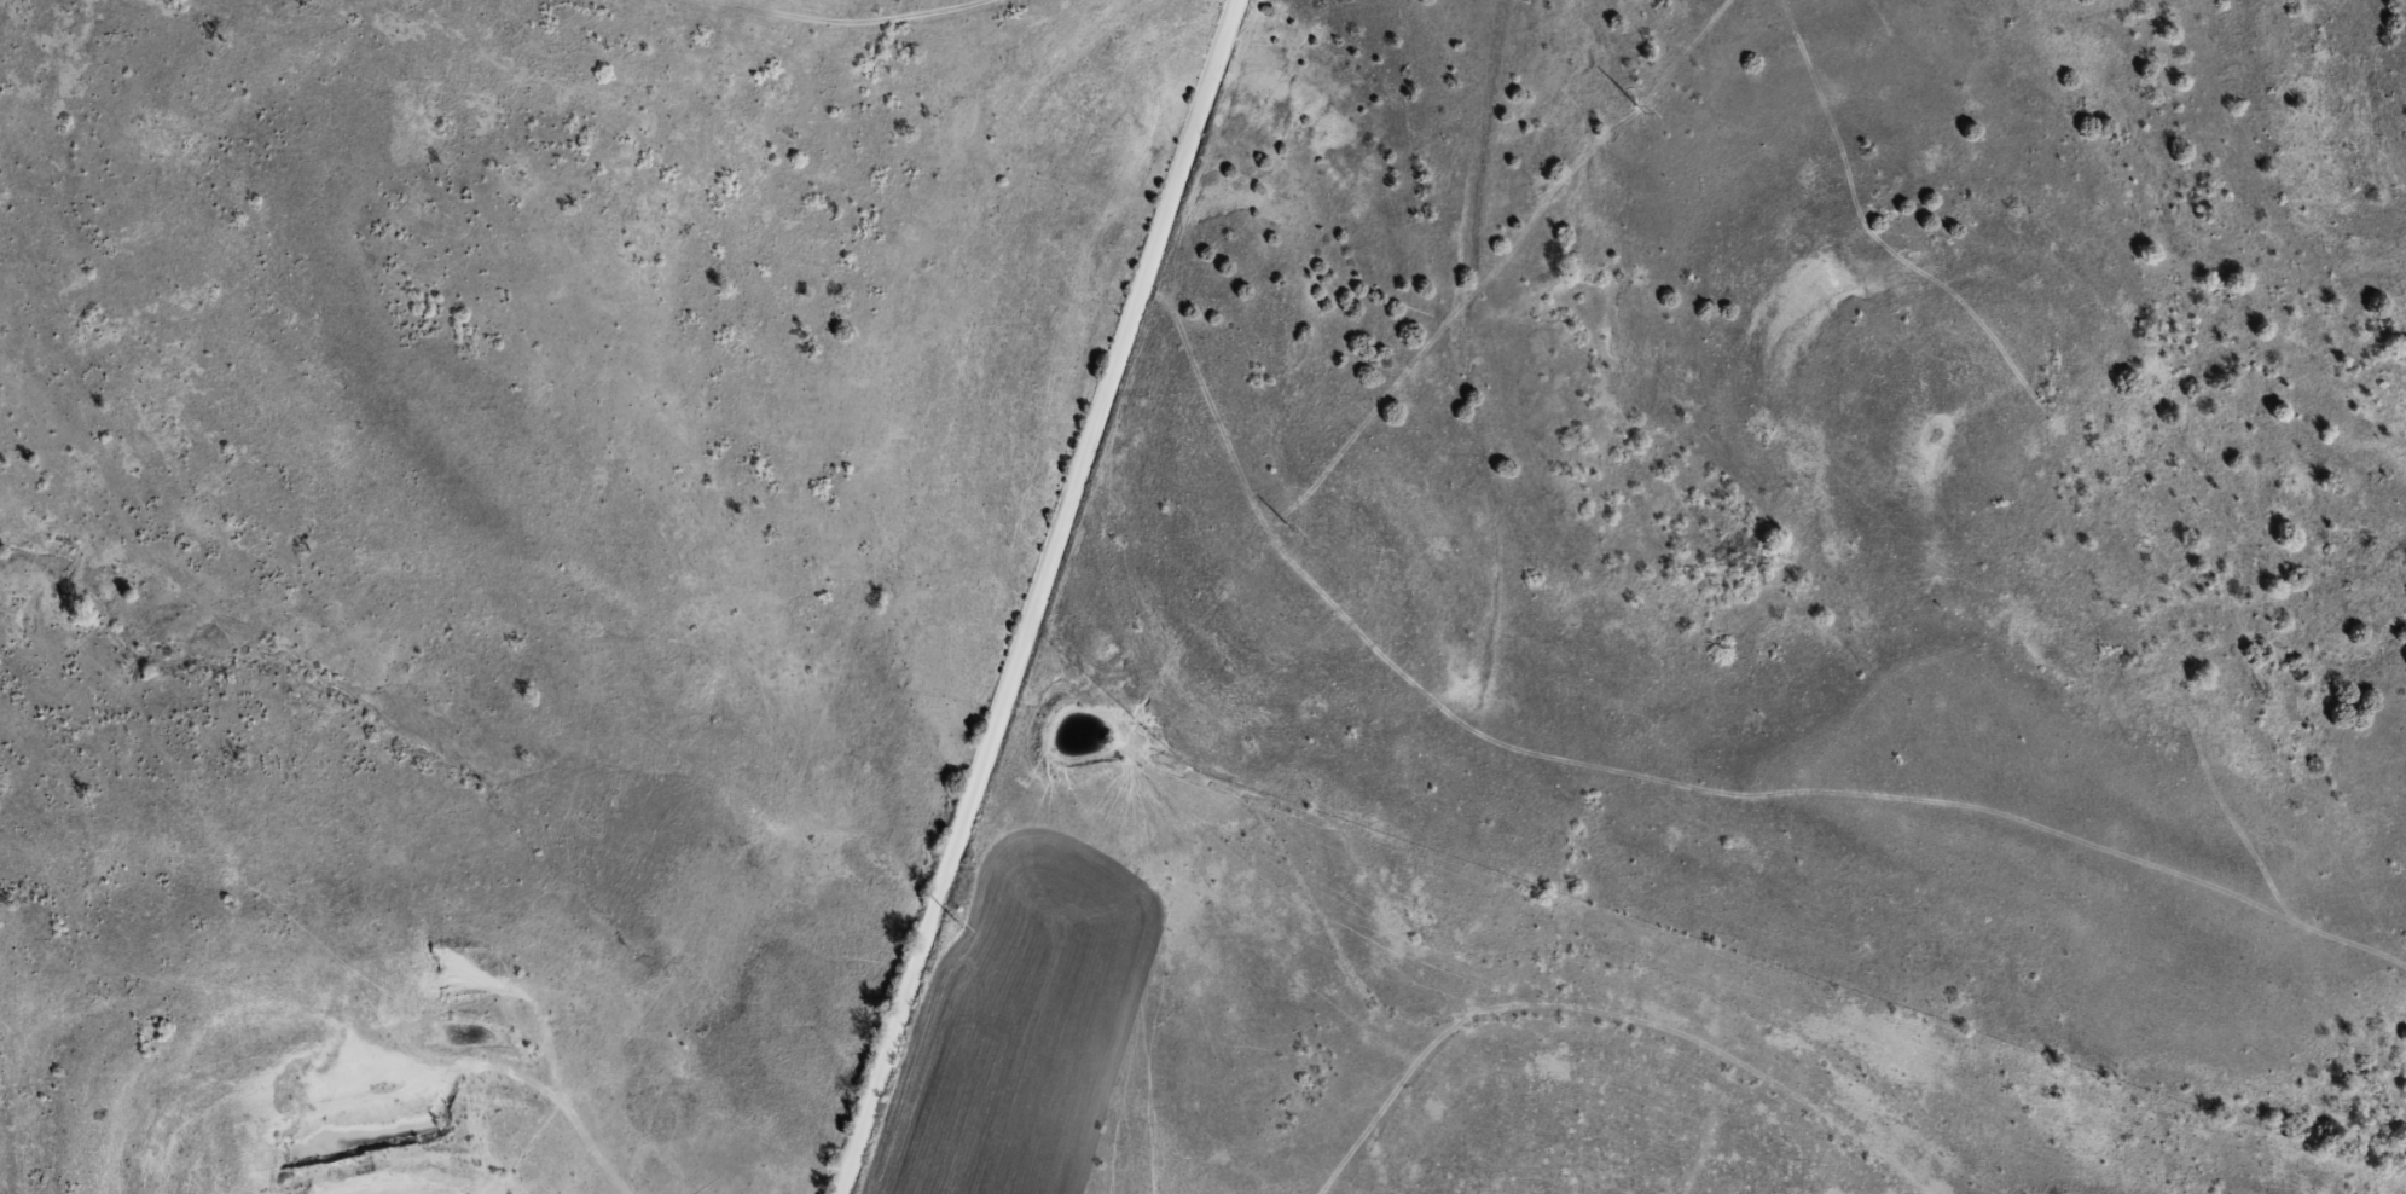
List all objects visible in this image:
power tower: (1640, 108)
power tower: (1289, 526)
road: (1036, 597)
power tower: (957, 922)

